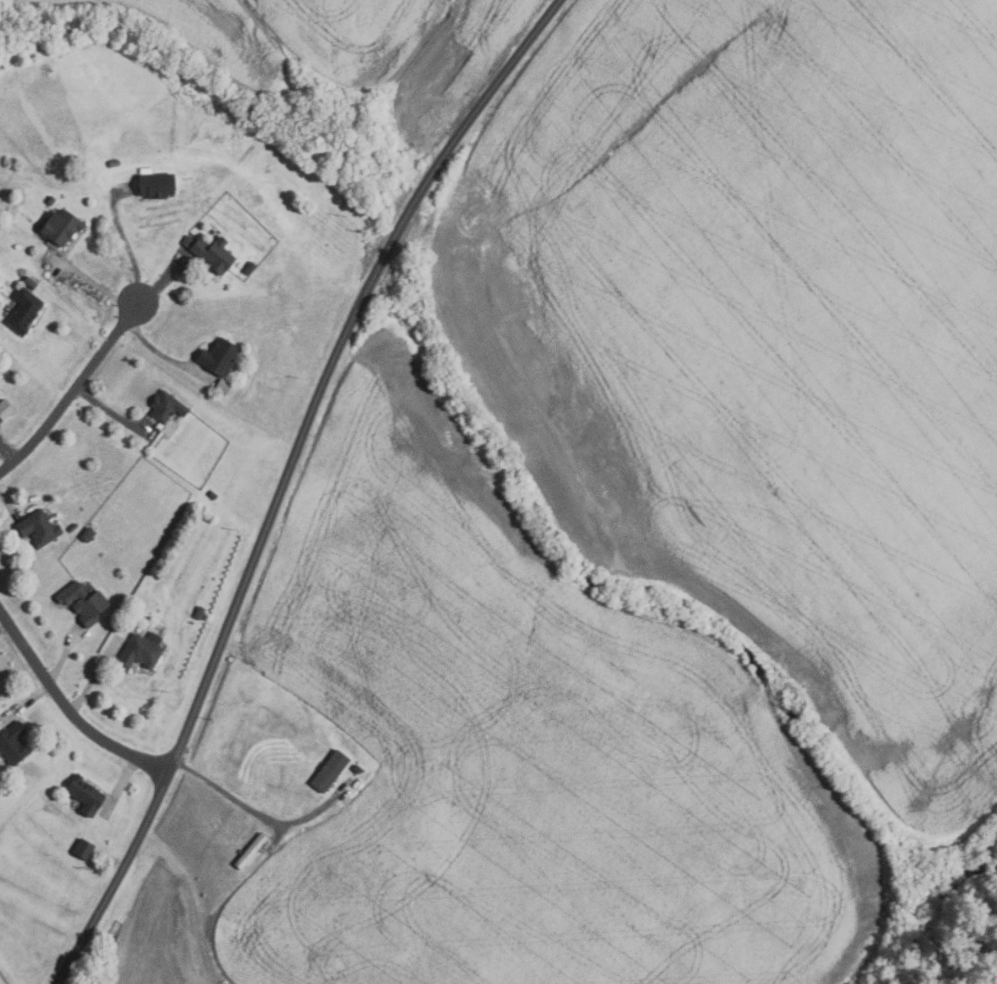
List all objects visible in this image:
building: (115, 163)
building: (158, 185)
building: (52, 200)
building: (62, 227)
building: (187, 240)
road: (129, 249)
building: (216, 254)
road: (162, 279)
building: (31, 283)
road: (93, 283)
building: (25, 311)
road: (78, 316)
road: (164, 356)
building: (220, 357)
building: (224, 387)
road: (74, 390)
building: (167, 407)
road: (109, 411)
road: (7, 452)
road: (288, 478)
building: (214, 495)
road: (8, 503)
building: (73, 528)
building: (40, 529)
building: (88, 535)
building: (85, 603)
building: (200, 612)
road: (4, 626)
building: (143, 650)
road: (65, 654)
road: (95, 675)
road: (26, 703)
road: (69, 710)
building: (14, 744)
building: (359, 769)
building: (331, 771)
road: (120, 785)
building: (86, 795)
road: (252, 812)
building: (84, 849)
building: (251, 851)
road: (190, 902)

